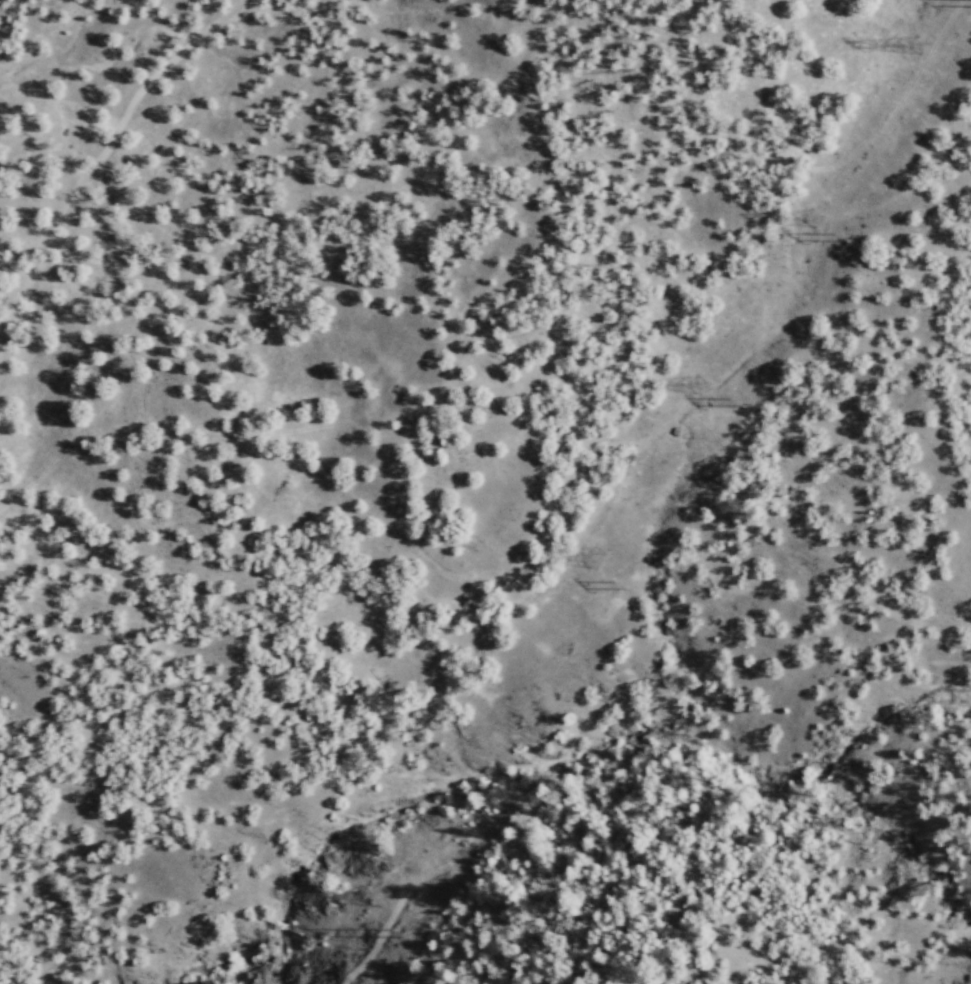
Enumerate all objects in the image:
power tower: (930, 53)
road: (98, 154)
power tower: (822, 229)
power tower: (854, 243)
power tower: (710, 394)
power tower: (749, 409)
power tower: (597, 575)
power tower: (631, 599)
power tower: (388, 902)
power tower: (411, 943)

